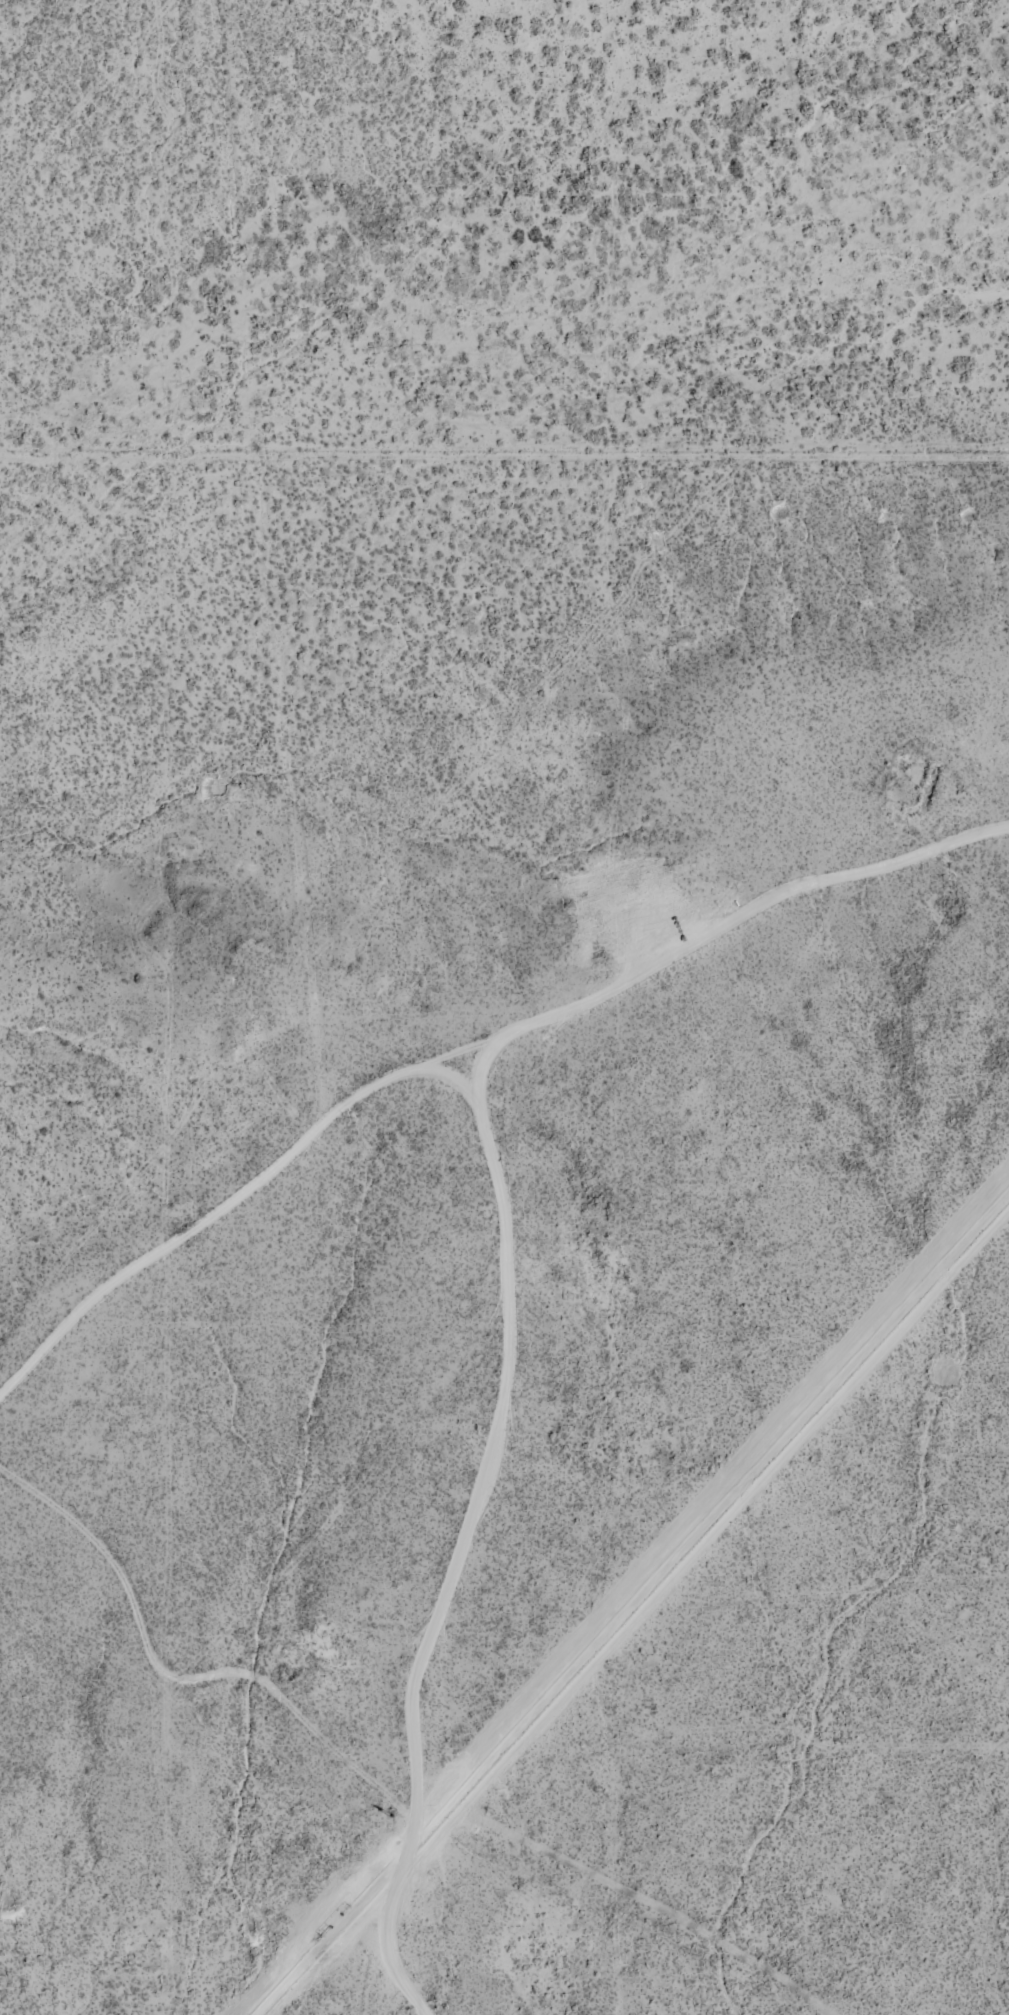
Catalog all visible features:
road: (378, 1107)
road: (483, 1253)
road: (139, 1259)

